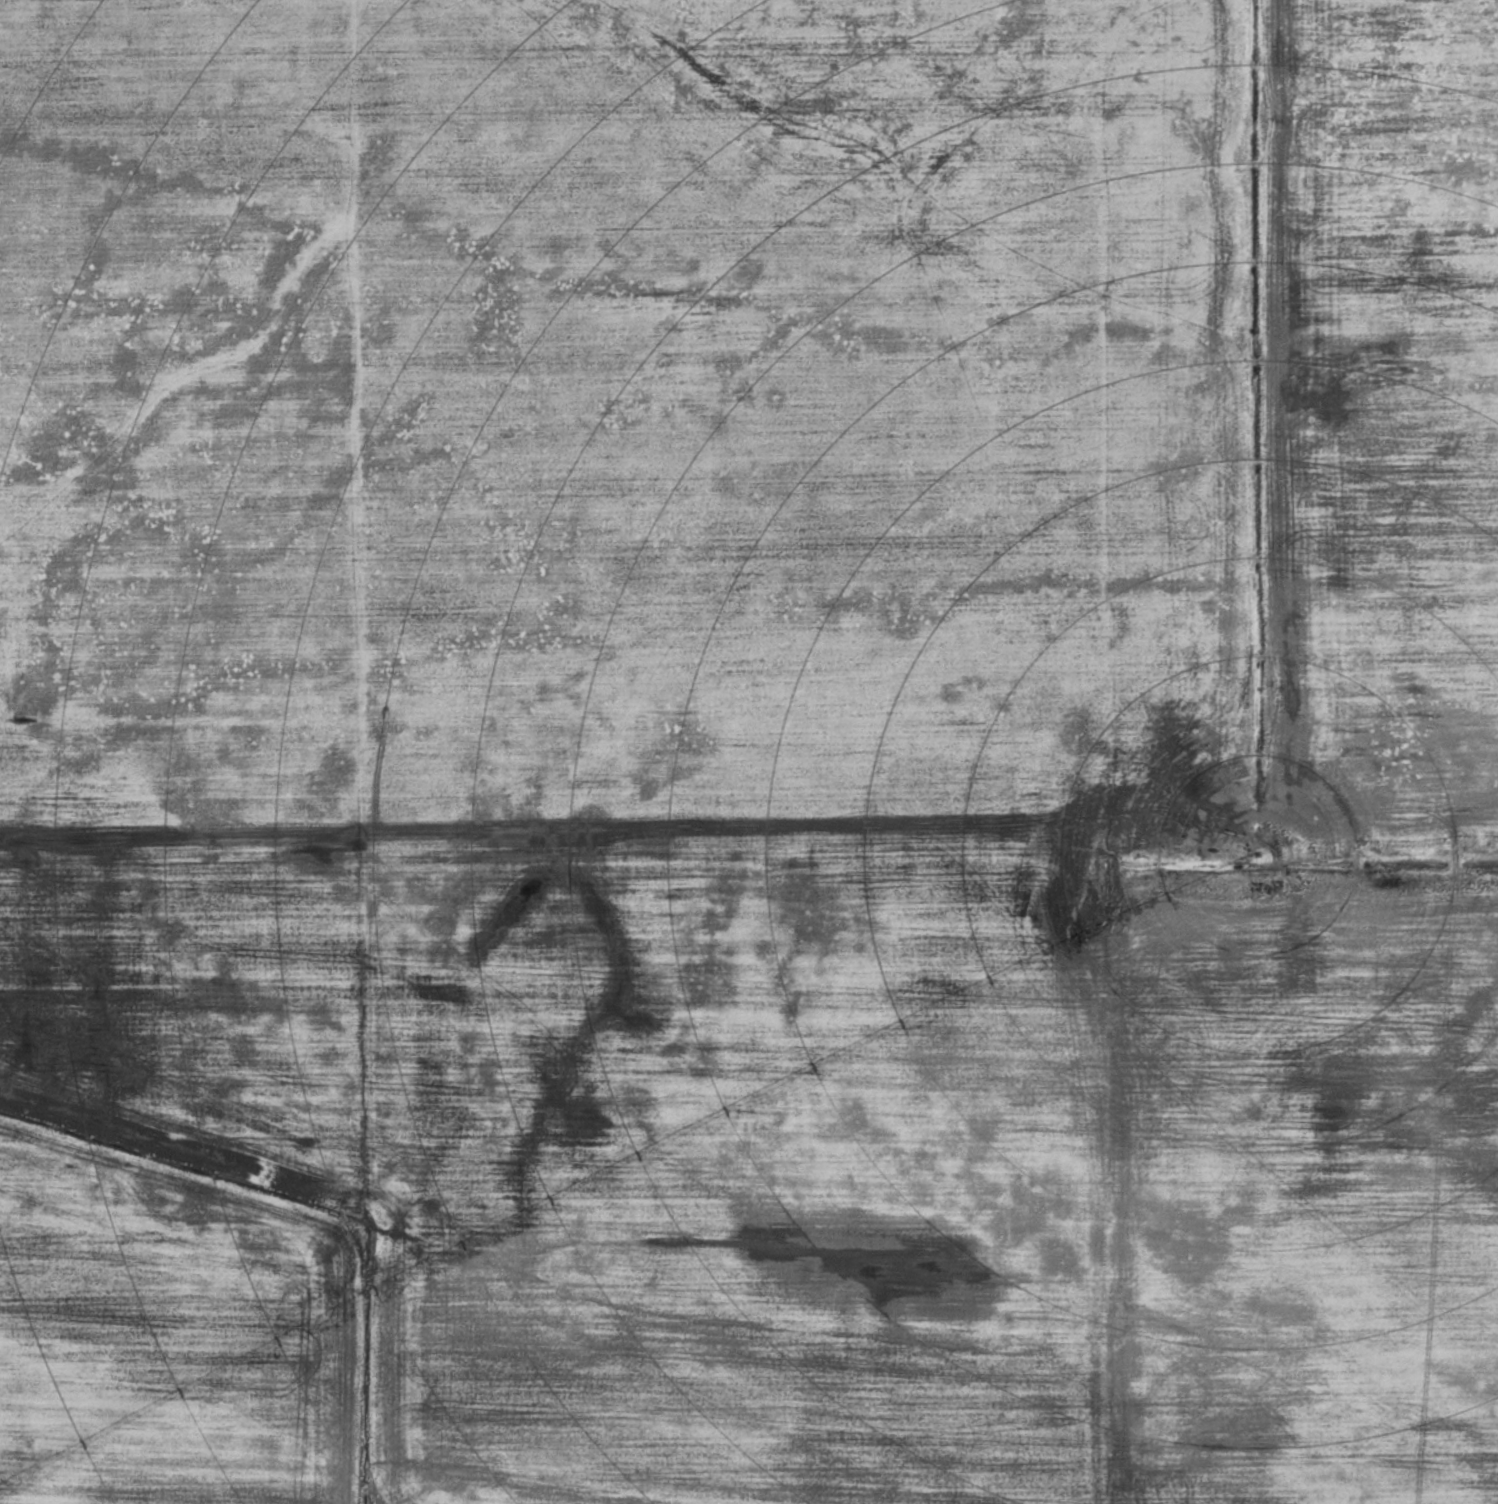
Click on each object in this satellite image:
road: (1102, 751)

